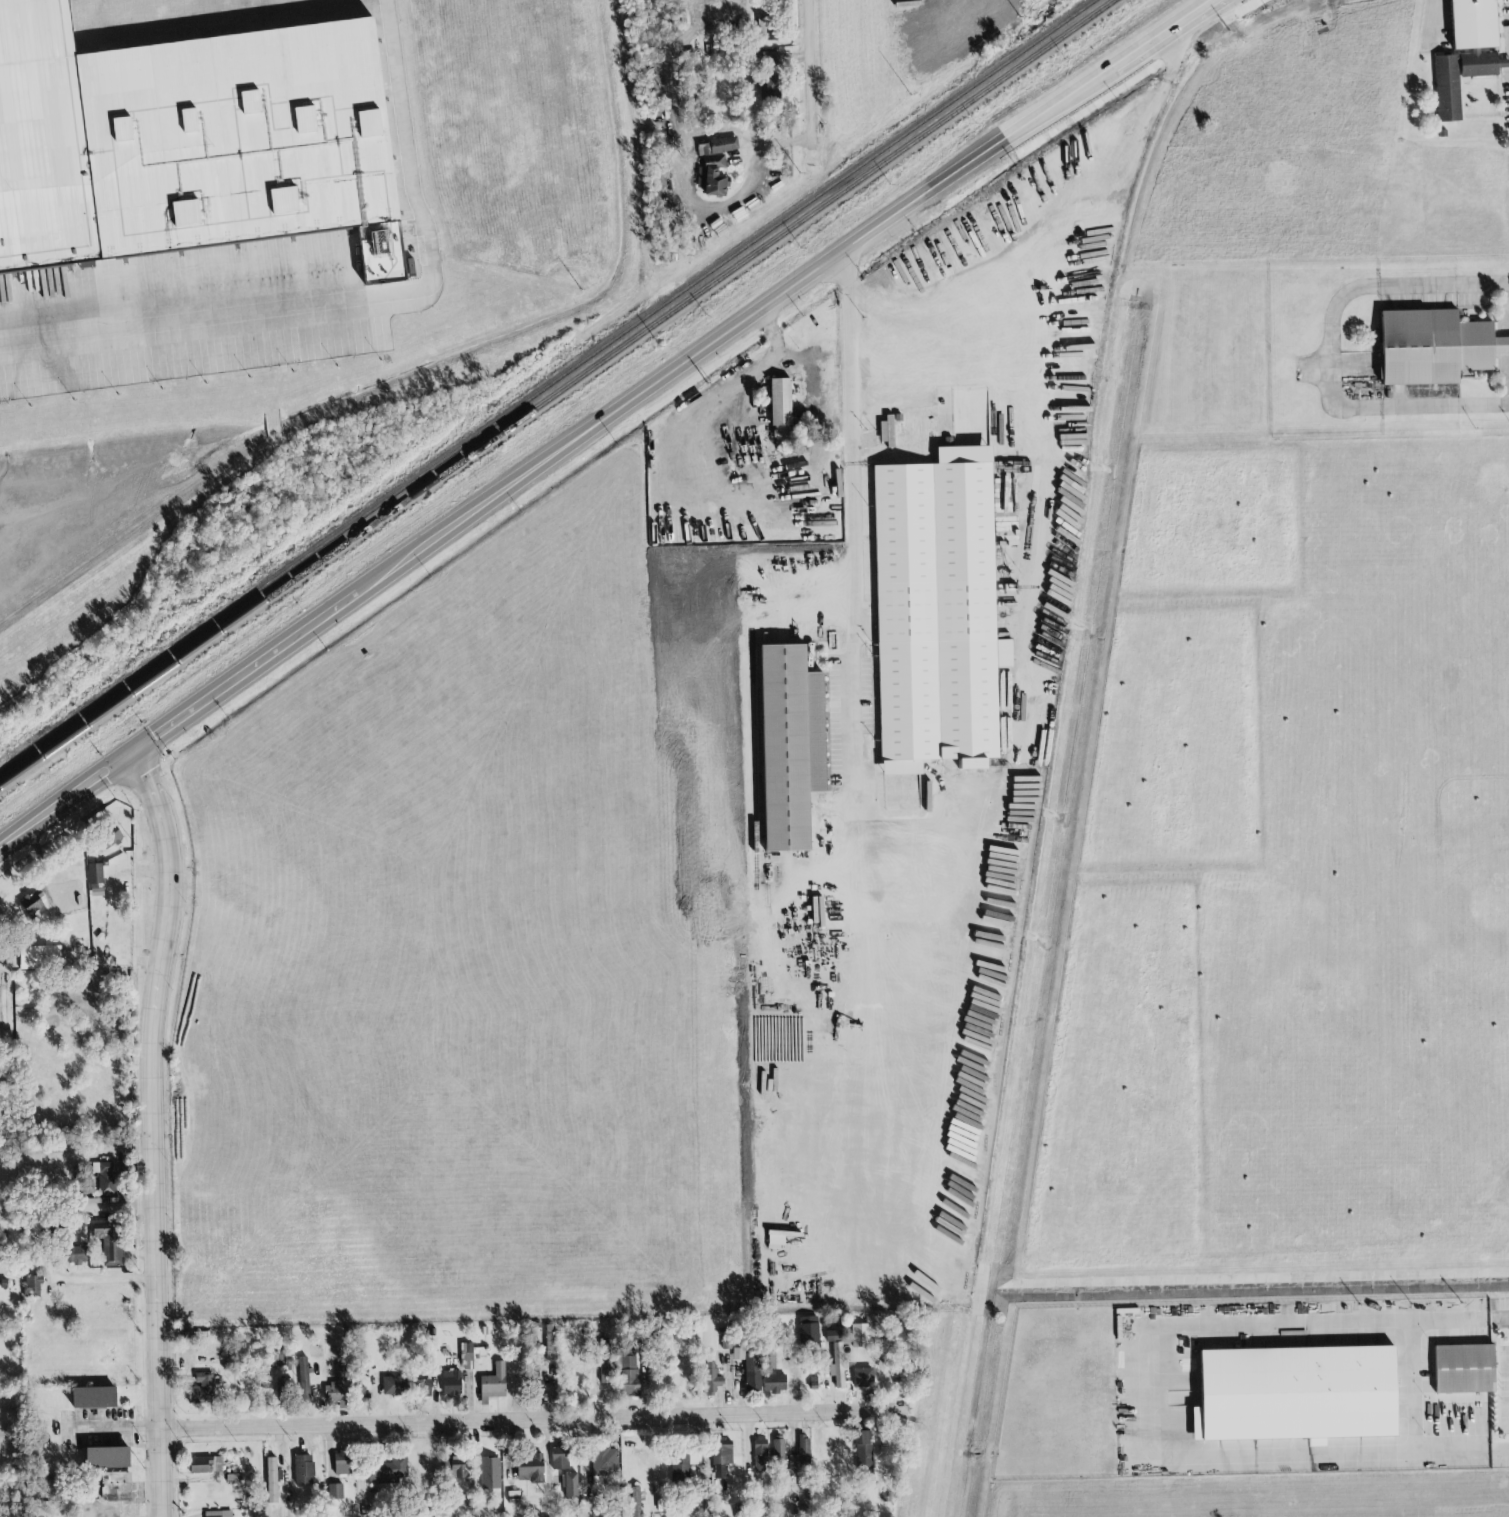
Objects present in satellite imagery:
road: (1225, 3)
building: (1476, 23)
building: (766, 30)
building: (766, 58)
road: (1089, 70)
road: (806, 74)
road: (1110, 76)
building: (769, 85)
building: (1448, 98)
building: (190, 138)
building: (1094, 141)
building: (718, 146)
building: (1067, 162)
building: (715, 176)
road: (360, 303)
road: (1506, 321)
road: (1505, 345)
building: (1434, 347)
road: (1331, 351)
road: (1505, 367)
railway: (544, 383)
road: (722, 399)
building: (780, 408)
building: (887, 432)
road: (560, 451)
road: (854, 503)
road: (1027, 559)
building: (936, 613)
building: (793, 747)
road: (753, 750)
road: (65, 802)
building: (112, 837)
building: (95, 874)
building: (34, 904)
building: (41, 956)
road: (865, 1008)
road: (153, 1131)
building: (105, 1177)
building: (779, 1239)
building: (110, 1243)
building: (77, 1255)
road: (89, 1280)
building: (33, 1287)
building: (809, 1330)
building: (834, 1335)
building: (861, 1335)
building: (550, 1342)
building: (471, 1354)
building: (739, 1354)
building: (605, 1361)
building: (838, 1364)
building: (1464, 1369)
building: (753, 1372)
building: (627, 1374)
building: (863, 1377)
building: (712, 1379)
building: (305, 1380)
building: (495, 1382)
building: (775, 1383)
building: (424, 1384)
building: (452, 1384)
building: (393, 1386)
building: (340, 1387)
building: (283, 1388)
building: (202, 1389)
road: (1139, 1393)
building: (1300, 1394)
building: (95, 1397)
road: (534, 1427)
road: (115, 1436)
building: (779, 1445)
building: (864, 1451)
building: (761, 1455)
building: (560, 1457)
building: (721, 1457)
building: (801, 1457)
building: (109, 1458)
building: (342, 1463)
building: (457, 1464)
building: (604, 1464)
building: (206, 1465)
building: (531, 1468)
building: (304, 1470)
building: (683, 1470)
building: (388, 1471)
building: (490, 1473)
building: (272, 1480)
building: (117, 1486)
building: (570, 1486)
building: (334, 1491)
building: (635, 1502)
building: (218, 1514)

